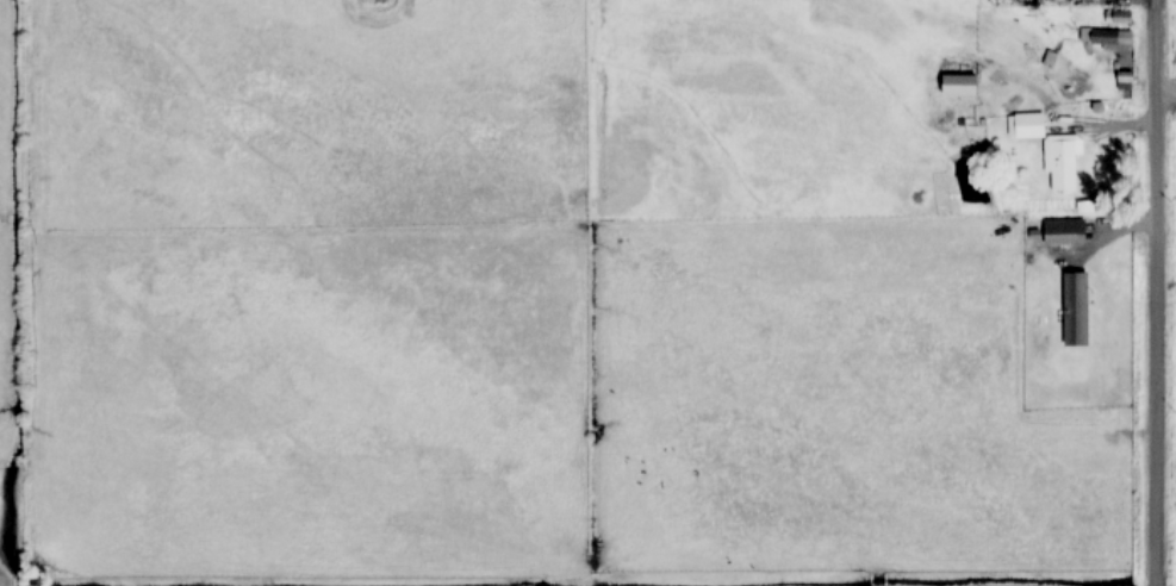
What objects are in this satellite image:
building: (1115, 17)
building: (1109, 38)
building: (1122, 77)
building: (957, 86)
building: (1027, 126)
building: (1058, 161)
building: (1063, 232)
road: (1155, 293)
building: (1072, 308)

